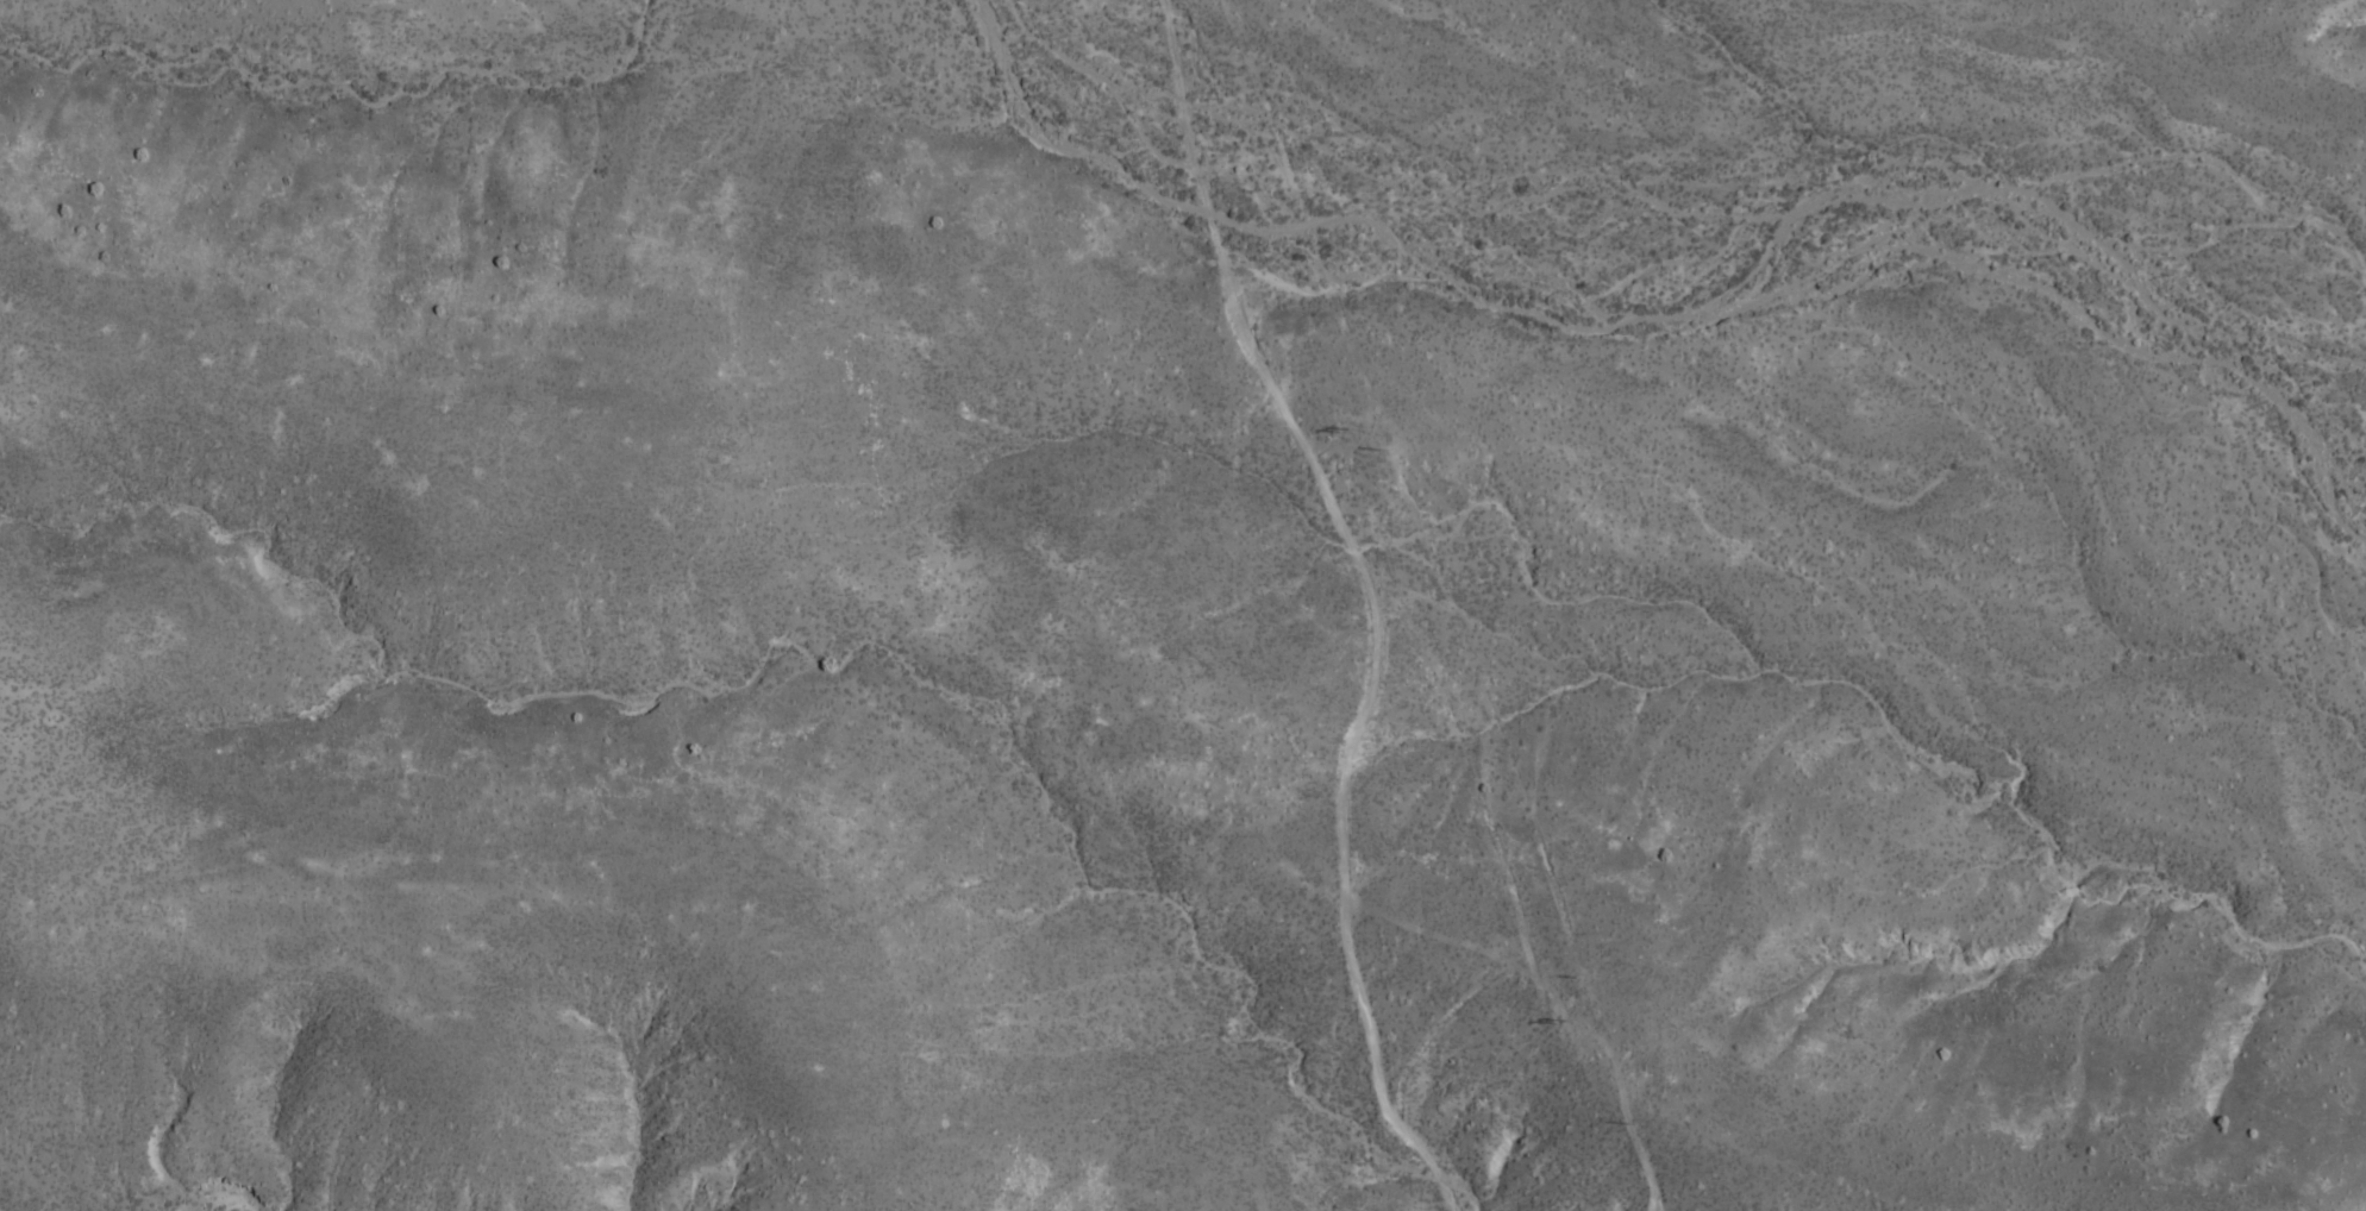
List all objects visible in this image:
road: (1371, 601)

